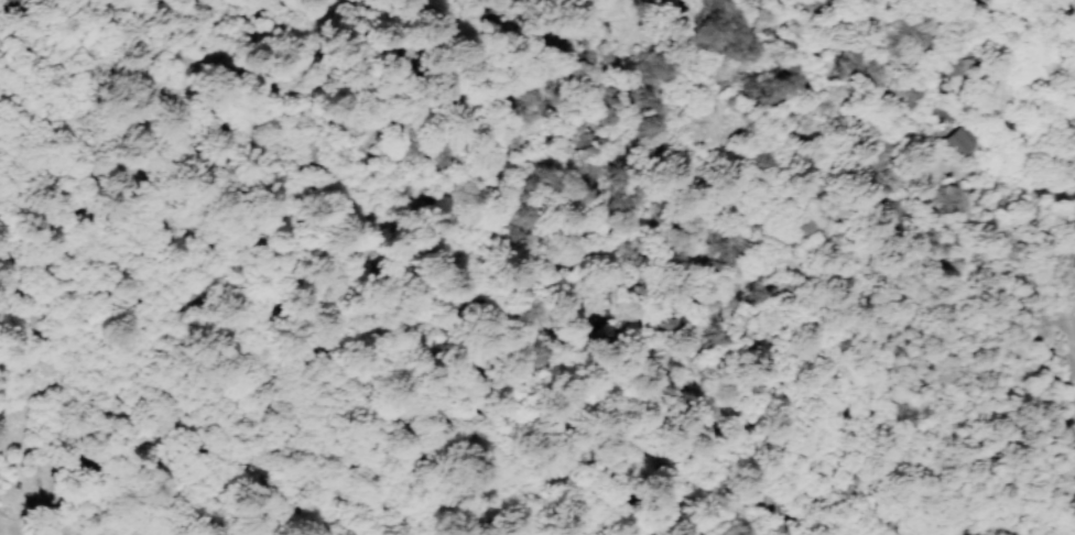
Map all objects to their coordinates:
building: (8, 4)
road: (378, 8)
road: (256, 17)
building: (954, 65)
building: (959, 142)

